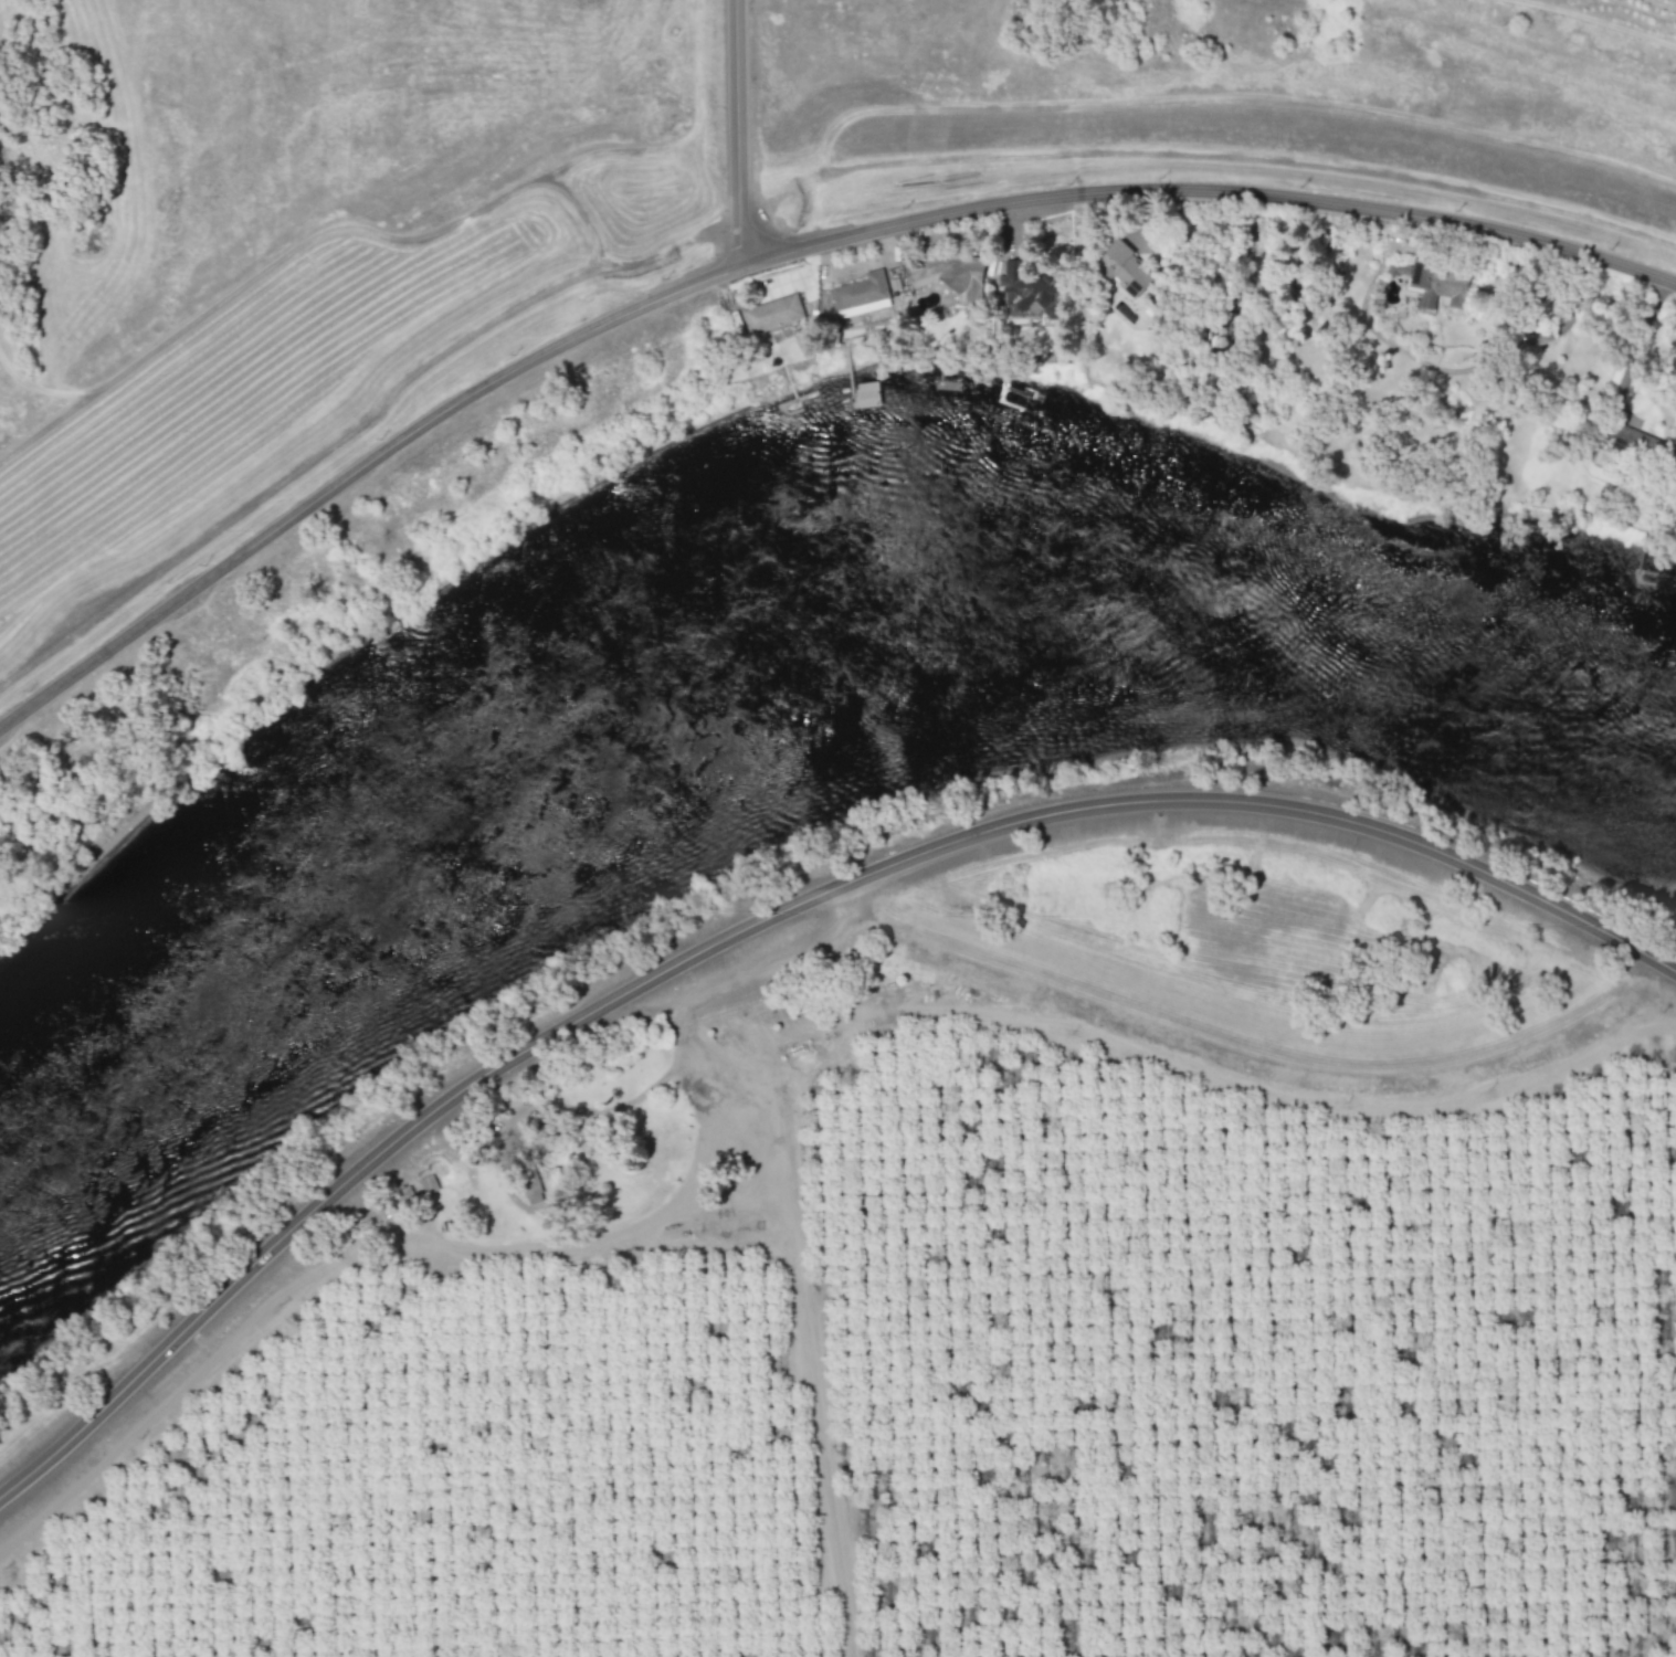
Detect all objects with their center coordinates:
road: (735, 135)
road: (778, 255)
building: (1124, 267)
building: (962, 275)
building: (1436, 284)
building: (860, 289)
building: (1031, 291)
building: (771, 314)
building: (1219, 338)
building: (867, 393)
building: (1635, 442)
river: (760, 614)
road: (765, 918)
crop: (1040, 1006)
road: (608, 1243)
road: (784, 1304)
crop: (948, 1393)

